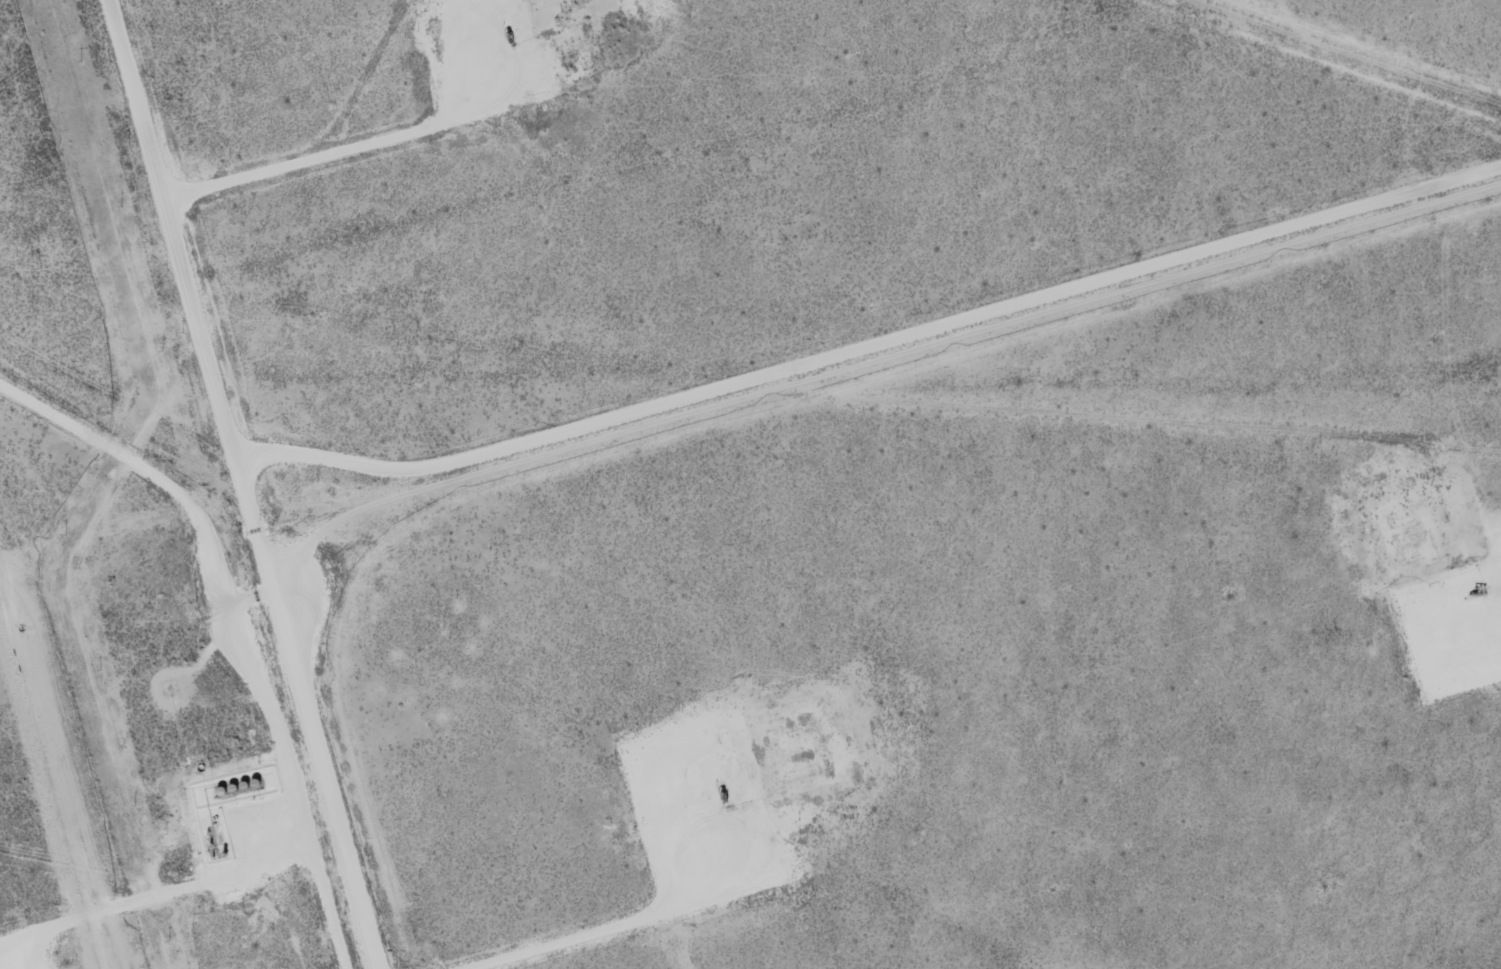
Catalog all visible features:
road: (267, 582)
petroleum well: (1484, 596)
petroleum well: (725, 791)

